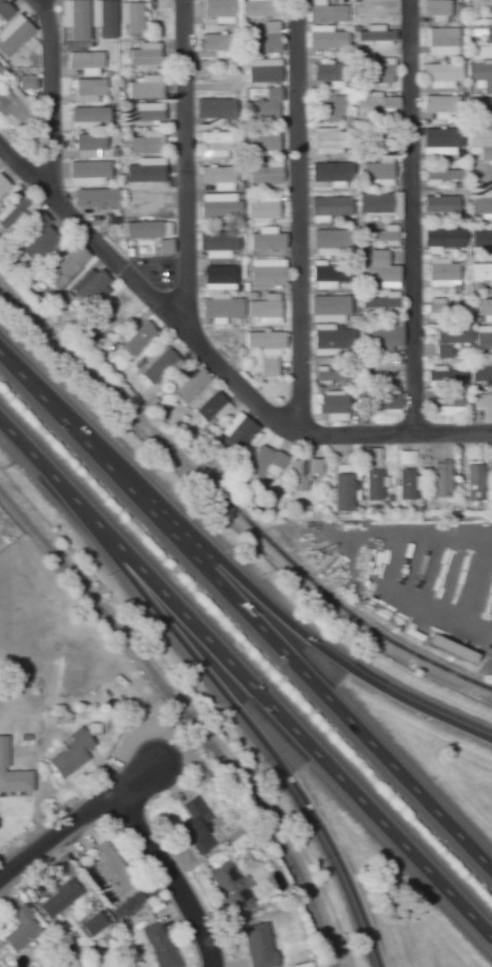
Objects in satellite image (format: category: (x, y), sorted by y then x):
building: (480, 4)
building: (256, 8)
building: (216, 9)
building: (432, 10)
building: (4, 12)
building: (325, 14)
building: (132, 17)
building: (479, 28)
building: (374, 35)
building: (326, 40)
building: (263, 41)
building: (439, 41)
building: (215, 42)
building: (22, 49)
building: (143, 58)
building: (83, 61)
building: (377, 72)
building: (262, 73)
building: (328, 73)
building: (439, 75)
building: (479, 75)
building: (23, 82)
building: (88, 88)
building: (142, 88)
road: (50, 100)
building: (375, 102)
building: (263, 105)
building: (437, 105)
building: (480, 106)
building: (13, 107)
building: (213, 108)
building: (329, 109)
building: (93, 115)
building: (327, 138)
building: (260, 143)
building: (479, 143)
building: (88, 144)
building: (144, 144)
building: (214, 144)
road: (183, 164)
building: (376, 172)
building: (332, 173)
building: (438, 174)
building: (215, 175)
building: (263, 175)
building: (1, 186)
building: (94, 199)
building: (377, 203)
building: (482, 203)
building: (143, 204)
building: (440, 204)
building: (218, 208)
building: (328, 208)
building: (261, 209)
building: (13, 211)
road: (413, 215)
road: (299, 216)
building: (35, 221)
building: (382, 235)
building: (481, 238)
building: (441, 239)
building: (265, 241)
building: (216, 242)
building: (162, 247)
building: (63, 266)
building: (379, 269)
building: (265, 273)
building: (441, 273)
building: (327, 274)
building: (481, 274)
building: (88, 286)
building: (387, 302)
building: (219, 309)
building: (441, 309)
building: (483, 309)
building: (262, 311)
building: (112, 312)
building: (381, 334)
building: (133, 337)
building: (482, 338)
building: (328, 339)
building: (449, 339)
building: (262, 341)
road: (217, 361)
building: (155, 363)
building: (266, 368)
building: (480, 371)
building: (443, 374)
building: (330, 375)
building: (188, 385)
building: (491, 386)
building: (384, 399)
building: (331, 405)
building: (444, 406)
building: (210, 407)
building: (370, 454)
building: (263, 462)
building: (300, 473)
building: (437, 479)
building: (472, 482)
building: (372, 484)
building: (404, 484)
building: (341, 492)
road: (232, 501)
park: (7, 517)
road: (252, 591)
road: (245, 621)
road: (245, 684)
road: (221, 693)
building: (68, 753)
building: (11, 775)
road: (75, 820)
building: (194, 826)
road: (121, 832)
building: (110, 869)
road: (170, 875)
road: (185, 875)
building: (228, 888)
building: (57, 899)
building: (132, 901)
building: (91, 924)
building: (19, 929)
building: (257, 946)

